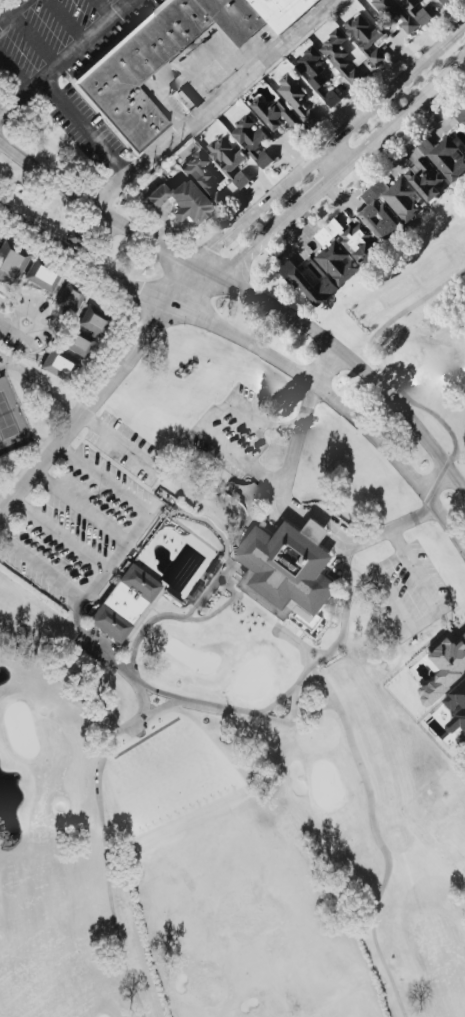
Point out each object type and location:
building: (444, 1)
building: (300, 3)
road: (102, 9)
building: (416, 10)
road: (12, 11)
building: (275, 12)
building: (395, 12)
building: (232, 17)
road: (65, 21)
road: (33, 41)
building: (332, 48)
road: (65, 59)
building: (139, 70)
building: (314, 73)
road: (13, 78)
building: (295, 98)
road: (210, 103)
building: (460, 112)
building: (275, 113)
road: (83, 129)
building: (251, 139)
road: (335, 156)
building: (227, 158)
road: (311, 158)
building: (433, 164)
road: (320, 189)
building: (189, 193)
building: (388, 206)
building: (358, 242)
building: (336, 262)
building: (10, 264)
building: (41, 277)
building: (306, 282)
road: (252, 297)
building: (69, 299)
building: (93, 321)
road: (6, 325)
road: (13, 329)
building: (78, 346)
road: (256, 348)
building: (60, 365)
road: (322, 365)
road: (87, 414)
road: (245, 414)
road: (297, 438)
road: (122, 448)
road: (239, 460)
road: (103, 482)
road: (256, 490)
road: (250, 506)
road: (82, 510)
road: (61, 536)
road: (368, 538)
road: (398, 543)
road: (118, 557)
road: (43, 570)
building: (291, 571)
building: (125, 604)
road: (414, 630)
building: (446, 670)
park: (240, 692)
building: (457, 709)

